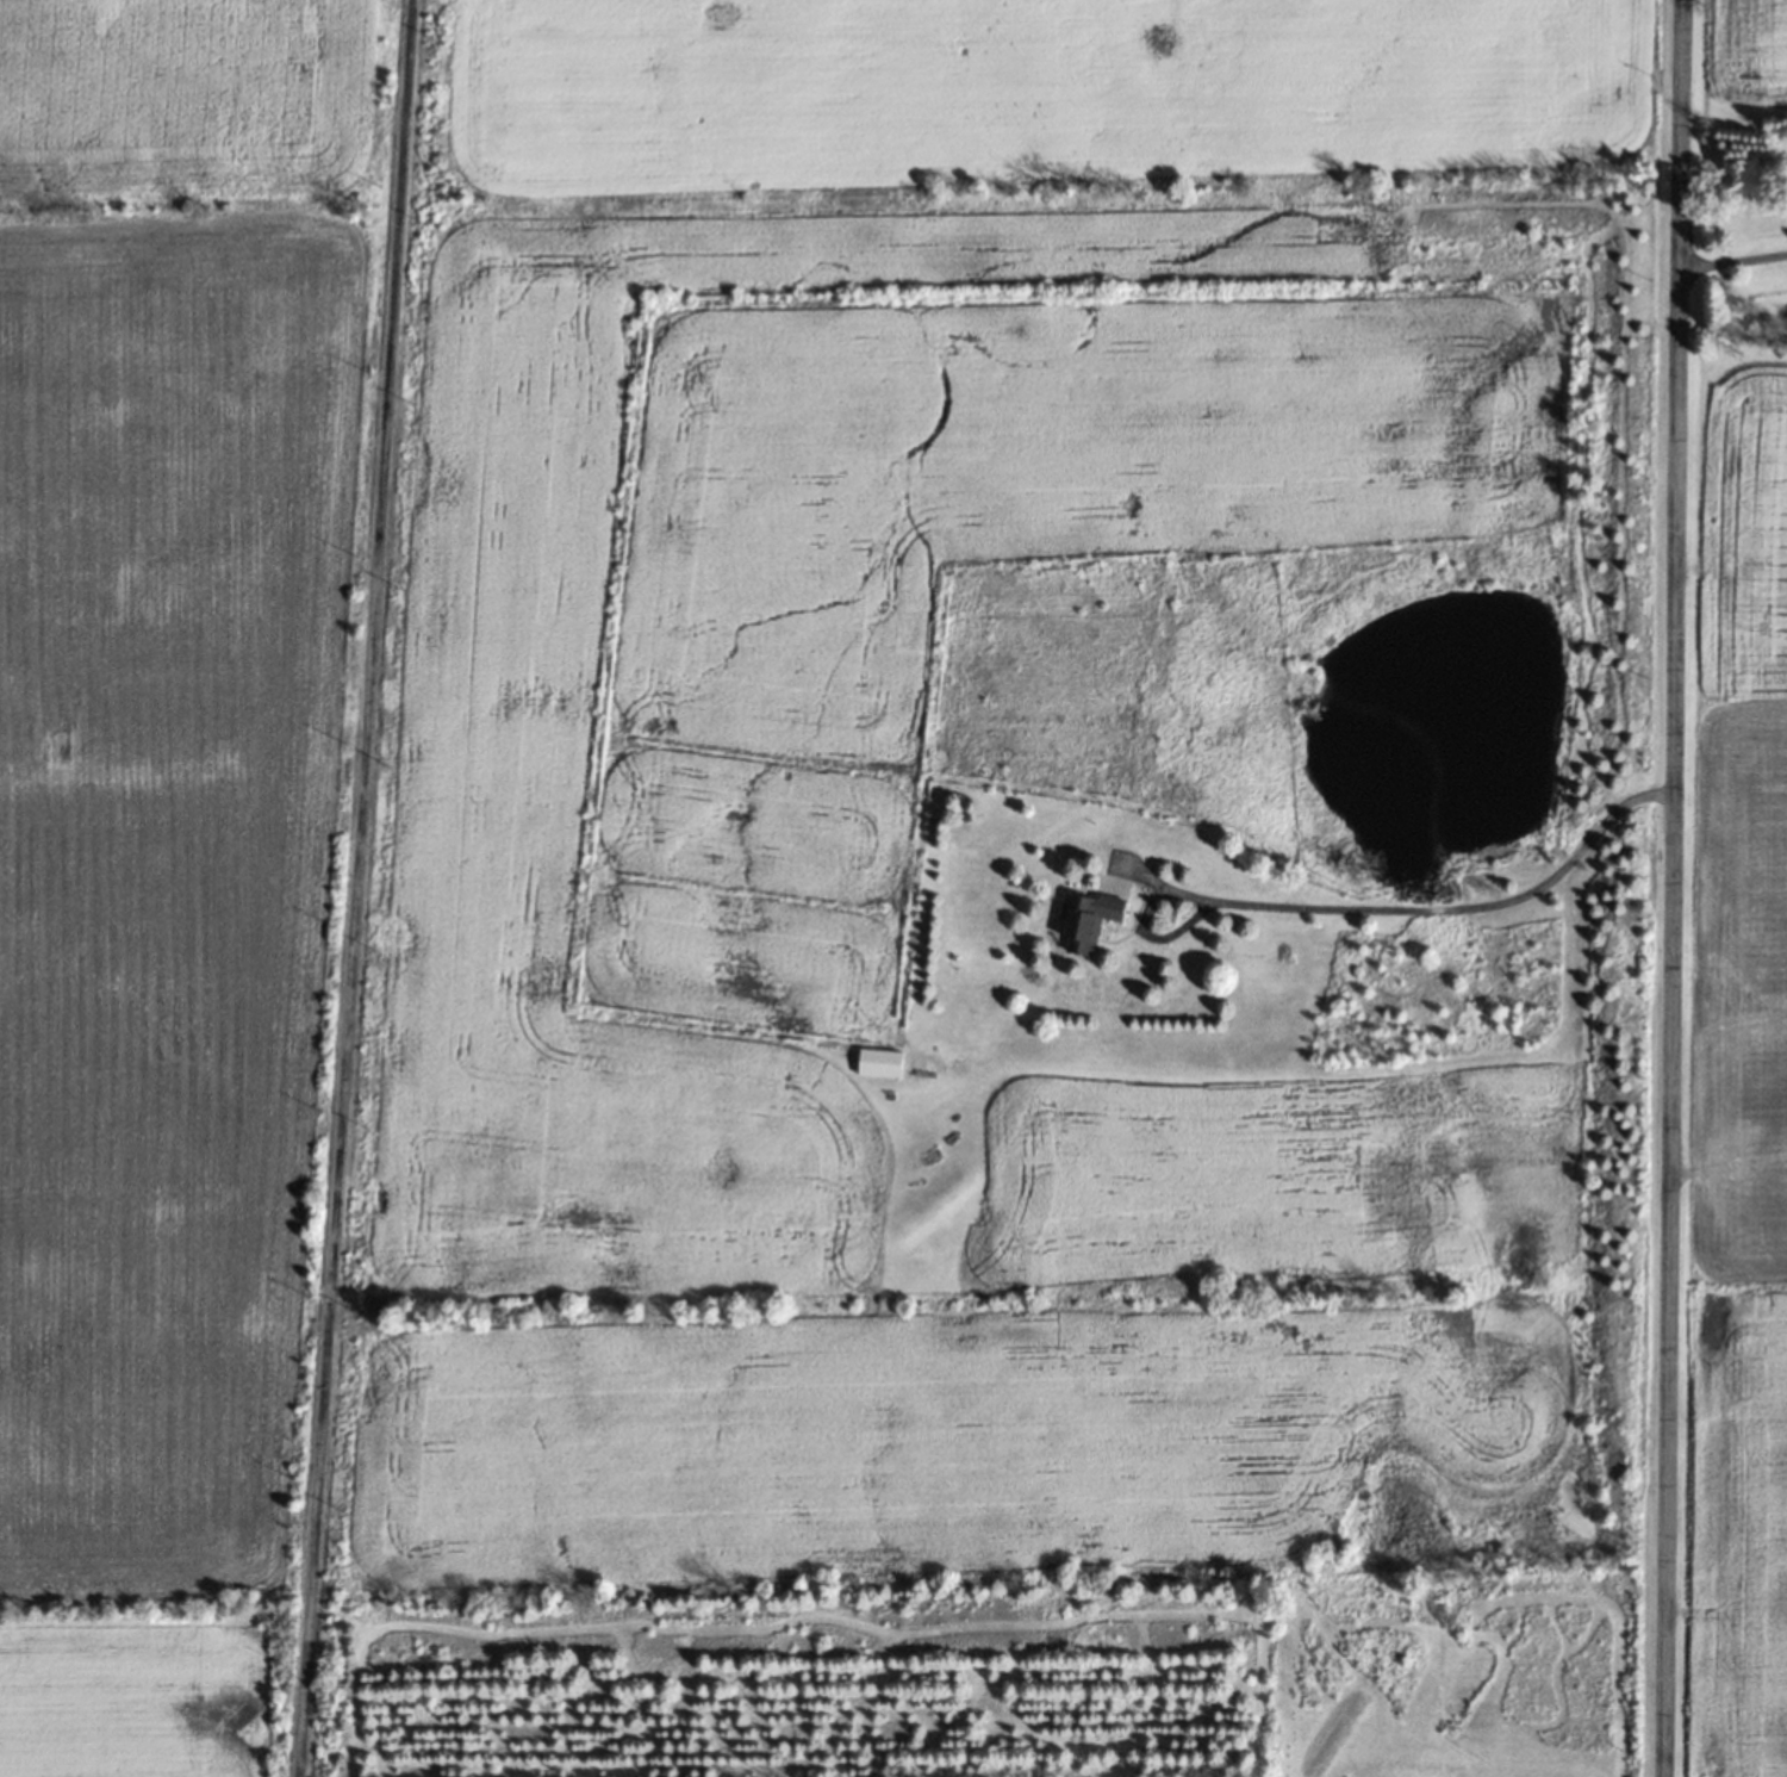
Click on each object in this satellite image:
crop: (1738, 61)
road: (1731, 260)
road: (351, 888)
road: (1664, 888)
road: (1366, 905)
building: (1086, 920)
building: (878, 1062)
crop: (1732, 1080)

